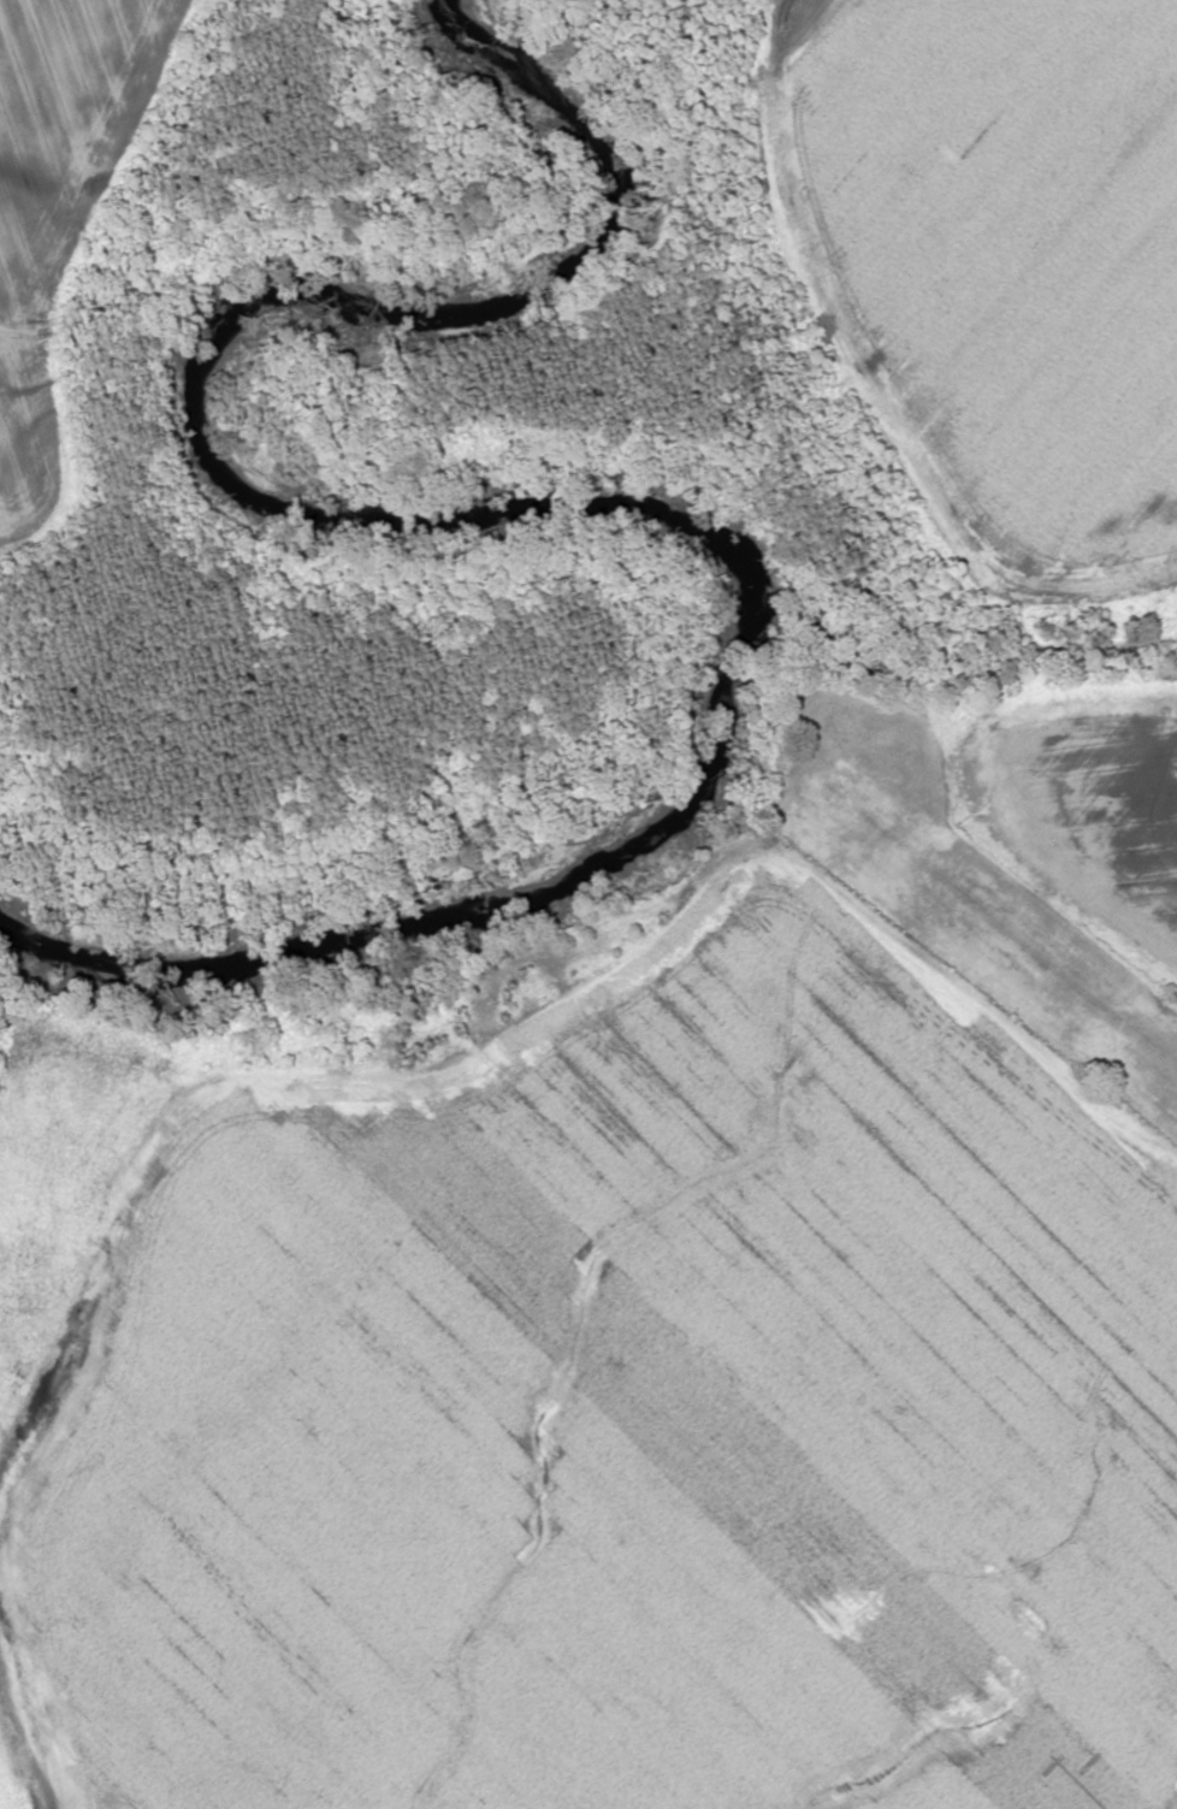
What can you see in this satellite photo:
river: (556, 499)

